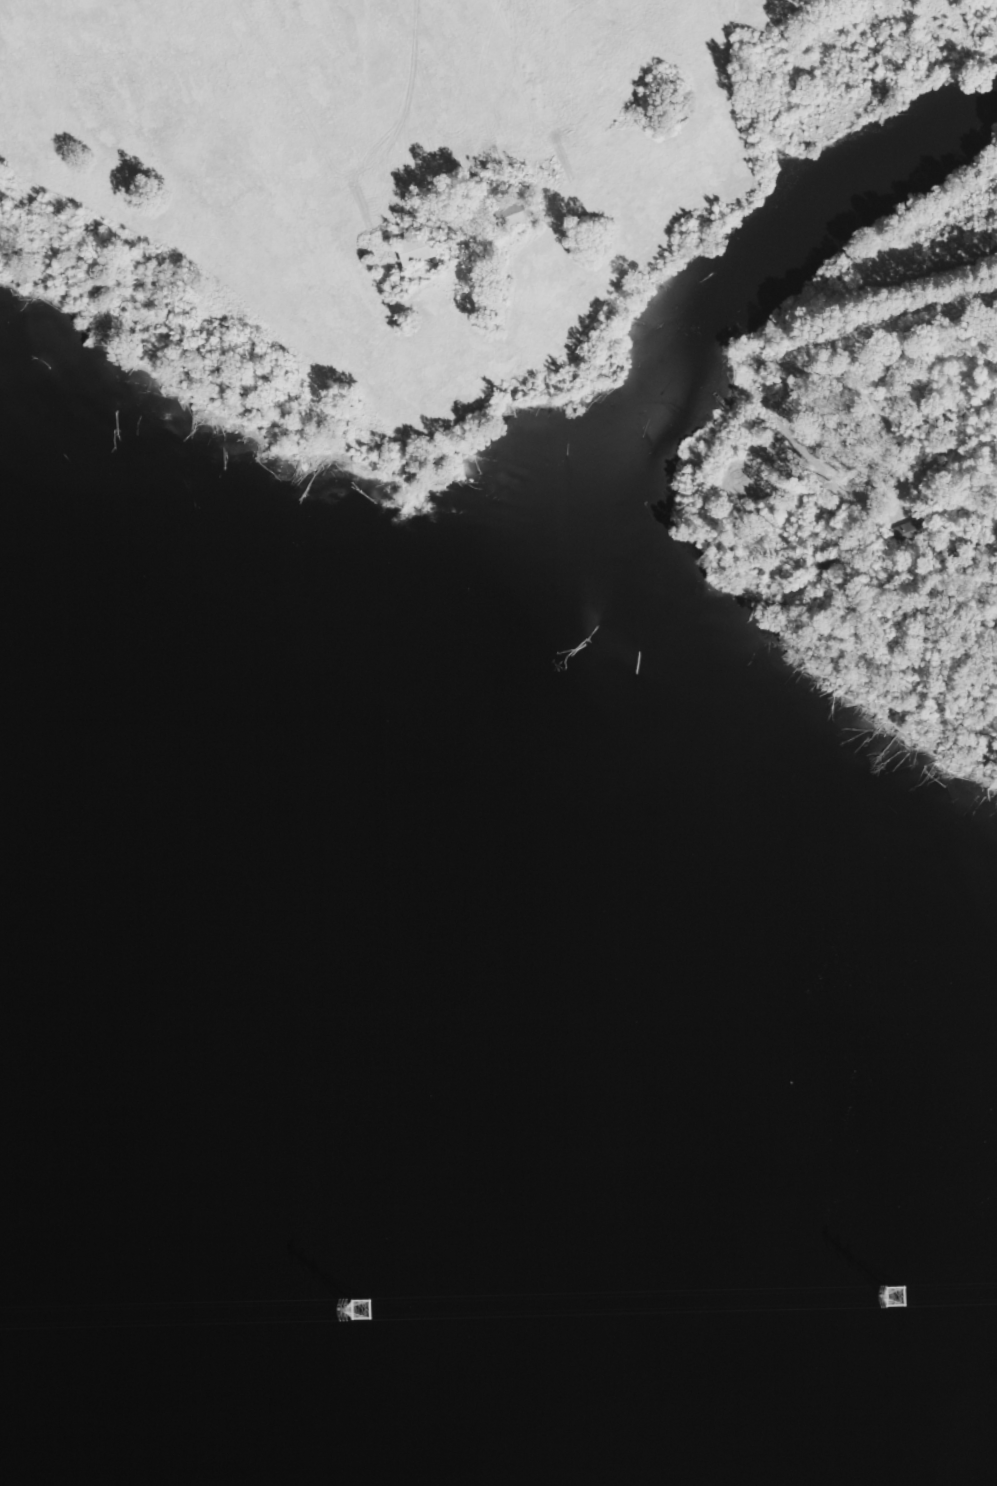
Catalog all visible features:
building: (507, 216)
building: (411, 250)
road: (995, 264)
building: (903, 534)
building: (822, 568)
power tower: (894, 1296)
power tower: (358, 1309)

